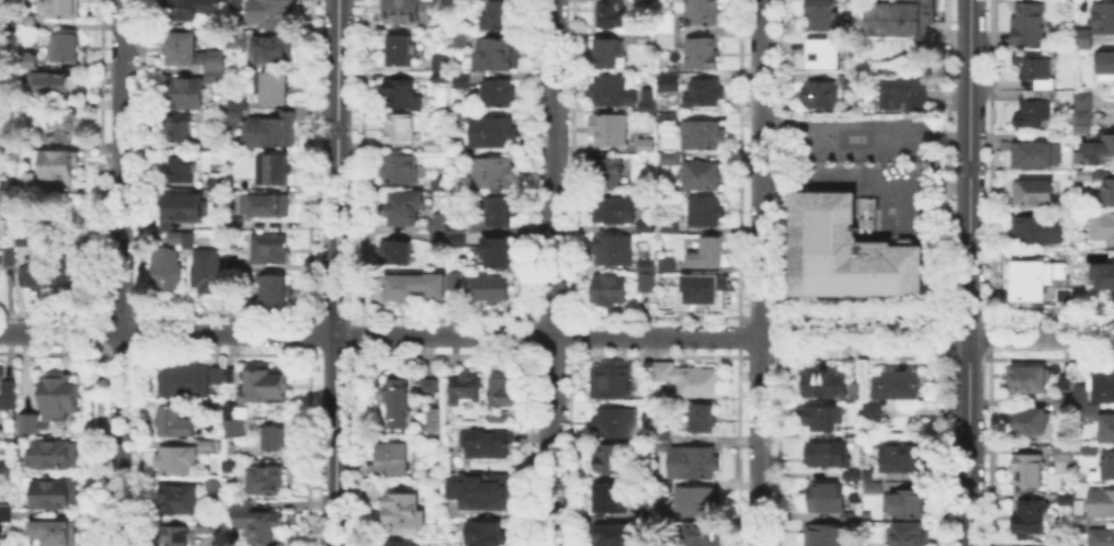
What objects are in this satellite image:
building: (854, 0)
building: (456, 1)
building: (62, 9)
building: (194, 9)
building: (700, 11)
building: (411, 12)
building: (273, 13)
building: (610, 13)
building: (825, 14)
building: (1102, 15)
building: (499, 16)
building: (895, 16)
building: (29, 20)
building: (664, 21)
building: (1028, 23)
building: (1081, 36)
building: (645, 37)
building: (663, 38)
building: (238, 42)
building: (458, 43)
building: (67, 49)
building: (604, 50)
building: (698, 50)
building: (184, 52)
building: (273, 52)
building: (405, 53)
building: (816, 53)
building: (501, 56)
building: (442, 64)
building: (1104, 64)
building: (1034, 66)
building: (214, 68)
building: (666, 75)
building: (441, 79)
building: (464, 81)
building: (856, 83)
building: (1, 84)
building: (56, 86)
building: (609, 88)
building: (273, 89)
building: (702, 91)
building: (907, 92)
building: (187, 94)
building: (401, 94)
building: (500, 94)
building: (815, 95)
building: (1081, 99)
building: (643, 100)
building: (239, 102)
road: (1110, 102)
building: (1032, 106)
building: (235, 113)
road: (1110, 115)
building: (664, 116)
building: (466, 118)
building: (1081, 118)
building: (234, 124)
road: (849, 124)
building: (606, 127)
building: (183, 129)
building: (274, 129)
building: (402, 129)
building: (64, 130)
building: (698, 133)
building: (493, 134)
road: (952, 138)
building: (644, 144)
building: (218, 146)
building: (1098, 147)
building: (435, 149)
building: (1032, 151)
building: (458, 157)
building: (667, 157)
building: (68, 168)
building: (400, 169)
building: (604, 169)
building: (184, 171)
building: (276, 172)
building: (698, 173)
building: (1084, 173)
building: (495, 174)
building: (33, 181)
building: (10, 183)
building: (219, 184)
building: (243, 186)
building: (441, 186)
building: (1033, 190)
building: (1105, 191)
building: (10, 200)
building: (268, 207)
building: (611, 208)
building: (702, 208)
building: (184, 211)
building: (408, 211)
road: (890, 212)
building: (503, 213)
building: (645, 224)
building: (668, 225)
building: (1103, 225)
building: (1038, 228)
building: (447, 234)
building: (657, 234)
building: (181, 240)
building: (29, 241)
building: (612, 248)
building: (707, 250)
building: (273, 251)
building: (840, 252)
building: (401, 254)
building: (9, 255)
building: (498, 255)
building: (14, 260)
building: (236, 262)
building: (664, 262)
building: (645, 264)
building: (73, 272)
road: (121, 272)
building: (208, 272)
road: (550, 272)
road: (969, 272)
road: (337, 273)
road: (760, 273)
building: (1102, 273)
building: (167, 274)
building: (41, 276)
building: (1033, 276)
building: (453, 278)
building: (645, 281)
building: (606, 287)
building: (701, 288)
building: (491, 289)
building: (277, 292)
building: (407, 292)
building: (1064, 294)
road: (485, 334)
road: (1042, 339)
building: (0, 369)
building: (666, 372)
building: (215, 373)
building: (227, 373)
building: (1026, 376)
building: (182, 377)
building: (1064, 380)
building: (821, 382)
building: (897, 382)
building: (263, 383)
building: (613, 383)
building: (700, 383)
building: (1101, 385)
building: (8, 386)
building: (853, 388)
building: (430, 389)
building: (467, 389)
building: (1079, 391)
building: (57, 395)
building: (505, 395)
building: (8, 399)
building: (1060, 400)
building: (401, 403)
building: (206, 408)
building: (871, 408)
building: (1090, 408)
building: (820, 414)
building: (1026, 419)
building: (499, 420)
building: (703, 420)
building: (174, 421)
building: (31, 422)
building: (435, 423)
building: (619, 423)
building: (231, 425)
building: (1106, 425)
building: (851, 433)
building: (272, 435)
building: (587, 440)
building: (666, 442)
building: (490, 443)
building: (205, 444)
building: (1088, 447)
building: (50, 452)
building: (825, 452)
building: (1062, 452)
building: (901, 455)
building: (174, 457)
building: (397, 460)
building: (611, 460)
building: (230, 463)
building: (1106, 463)
building: (7, 465)
building: (696, 465)
building: (1025, 469)
building: (867, 471)
building: (850, 473)
building: (263, 477)
building: (214, 484)
building: (872, 486)
building: (666, 488)
building: (485, 491)
building: (54, 492)
building: (826, 496)
building: (177, 498)
building: (1064, 498)
building: (613, 499)
building: (1100, 500)
building: (907, 501)
building: (698, 503)
building: (1077, 504)
building: (7, 511)
building: (22, 511)
building: (407, 513)
building: (852, 514)
building: (1026, 515)
building: (1079, 516)
building: (207, 522)
building: (259, 523)
building: (1079, 525)
building: (54, 531)
building: (0, 533)
building: (907, 533)
building: (174, 534)
building: (488, 534)
building: (822, 534)
building: (614, 536)
building: (1100, 536)
building: (705, 537)
building: (1061, 544)
building: (406, 545)

